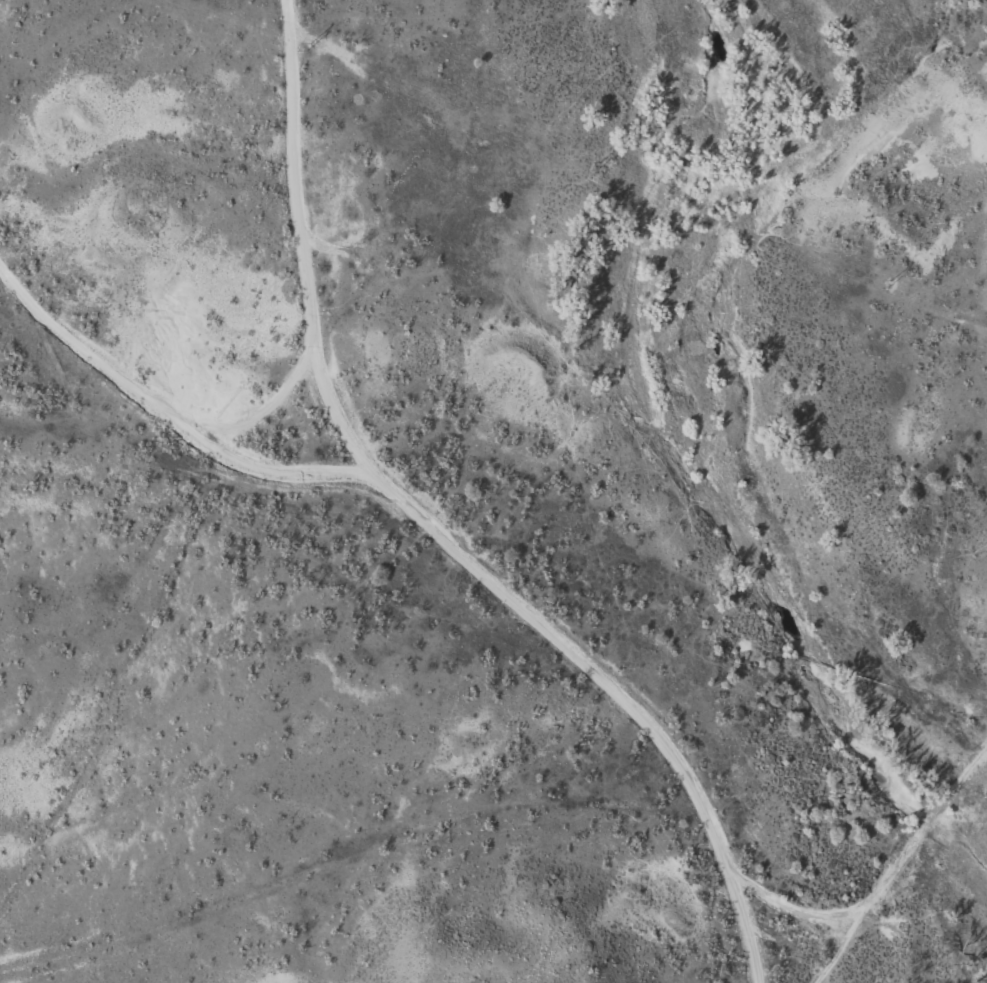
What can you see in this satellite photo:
power tower: (307, 46)
power tower: (599, 165)
power tower: (888, 283)

